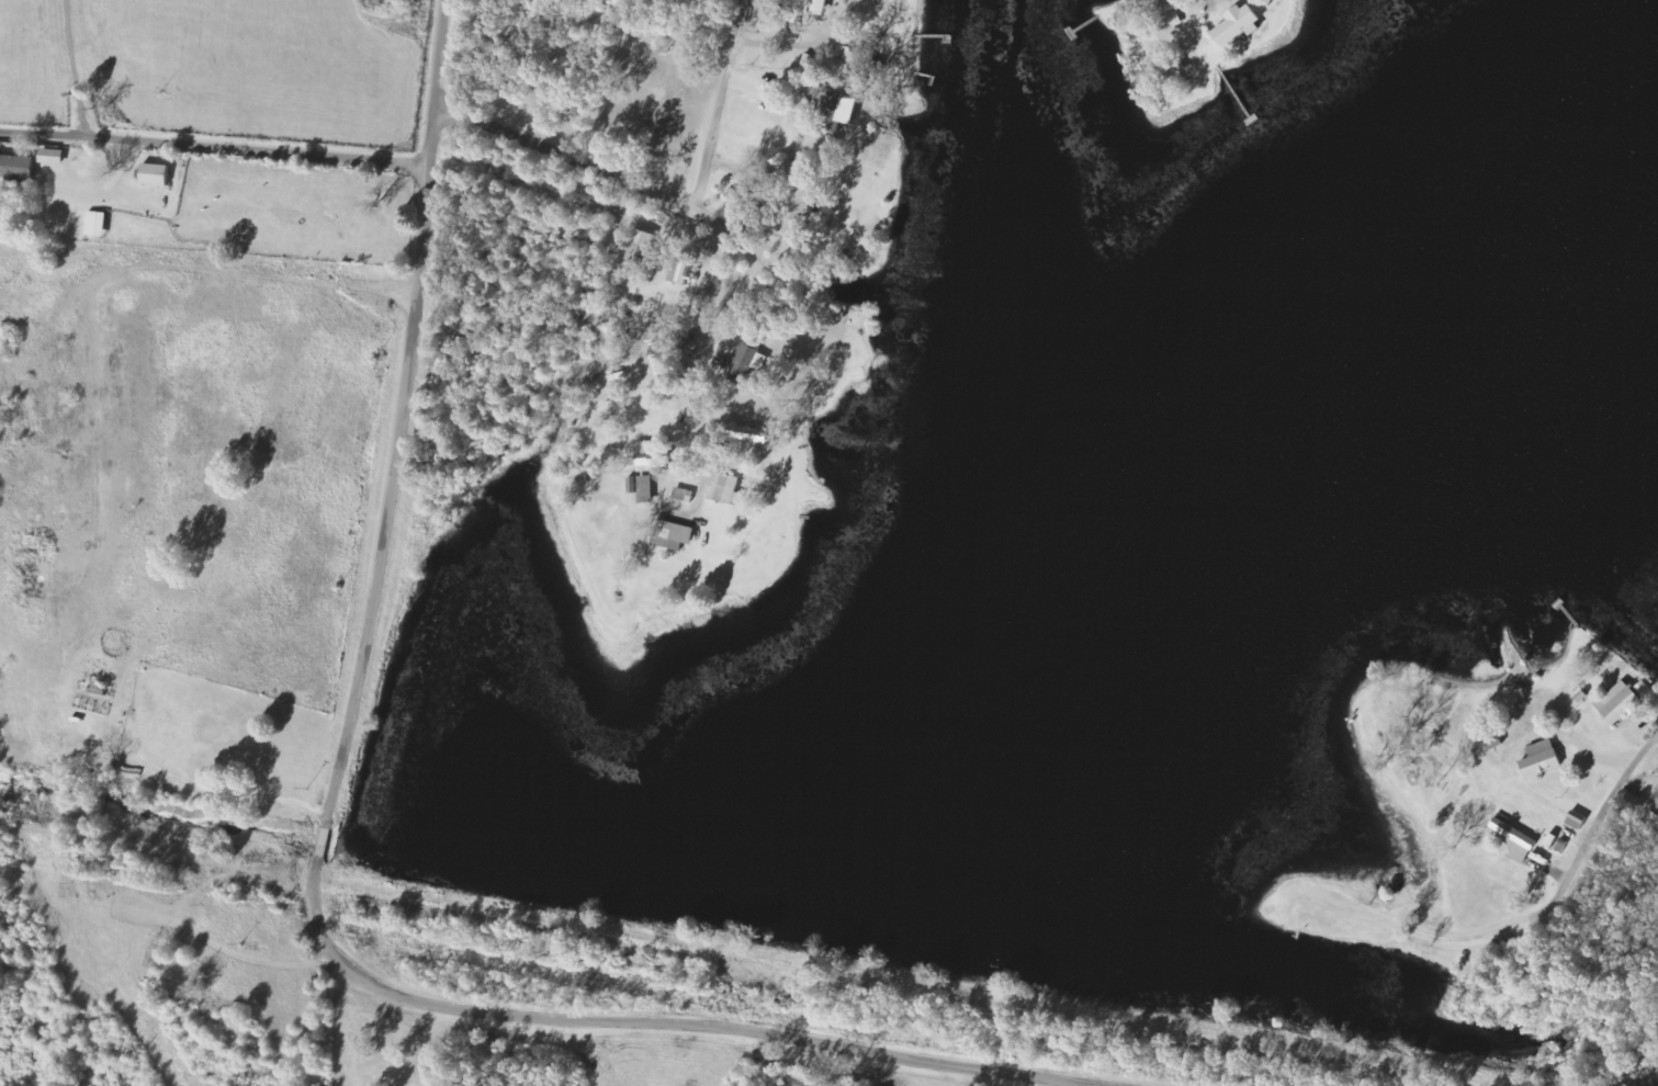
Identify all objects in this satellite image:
building: (820, 7)
building: (1173, 21)
building: (1238, 26)
road: (72, 68)
building: (839, 111)
road: (212, 148)
building: (53, 156)
building: (16, 167)
building: (156, 174)
road: (656, 196)
building: (801, 205)
road: (696, 214)
building: (640, 244)
road: (718, 259)
building: (685, 269)
building: (746, 364)
building: (652, 455)
building: (642, 488)
building: (725, 489)
building: (675, 534)
building: (1644, 689)
building: (1620, 703)
building: (1542, 759)
building: (1656, 797)
road: (350, 826)
building: (1514, 840)
road: (1509, 927)
railway: (770, 949)

